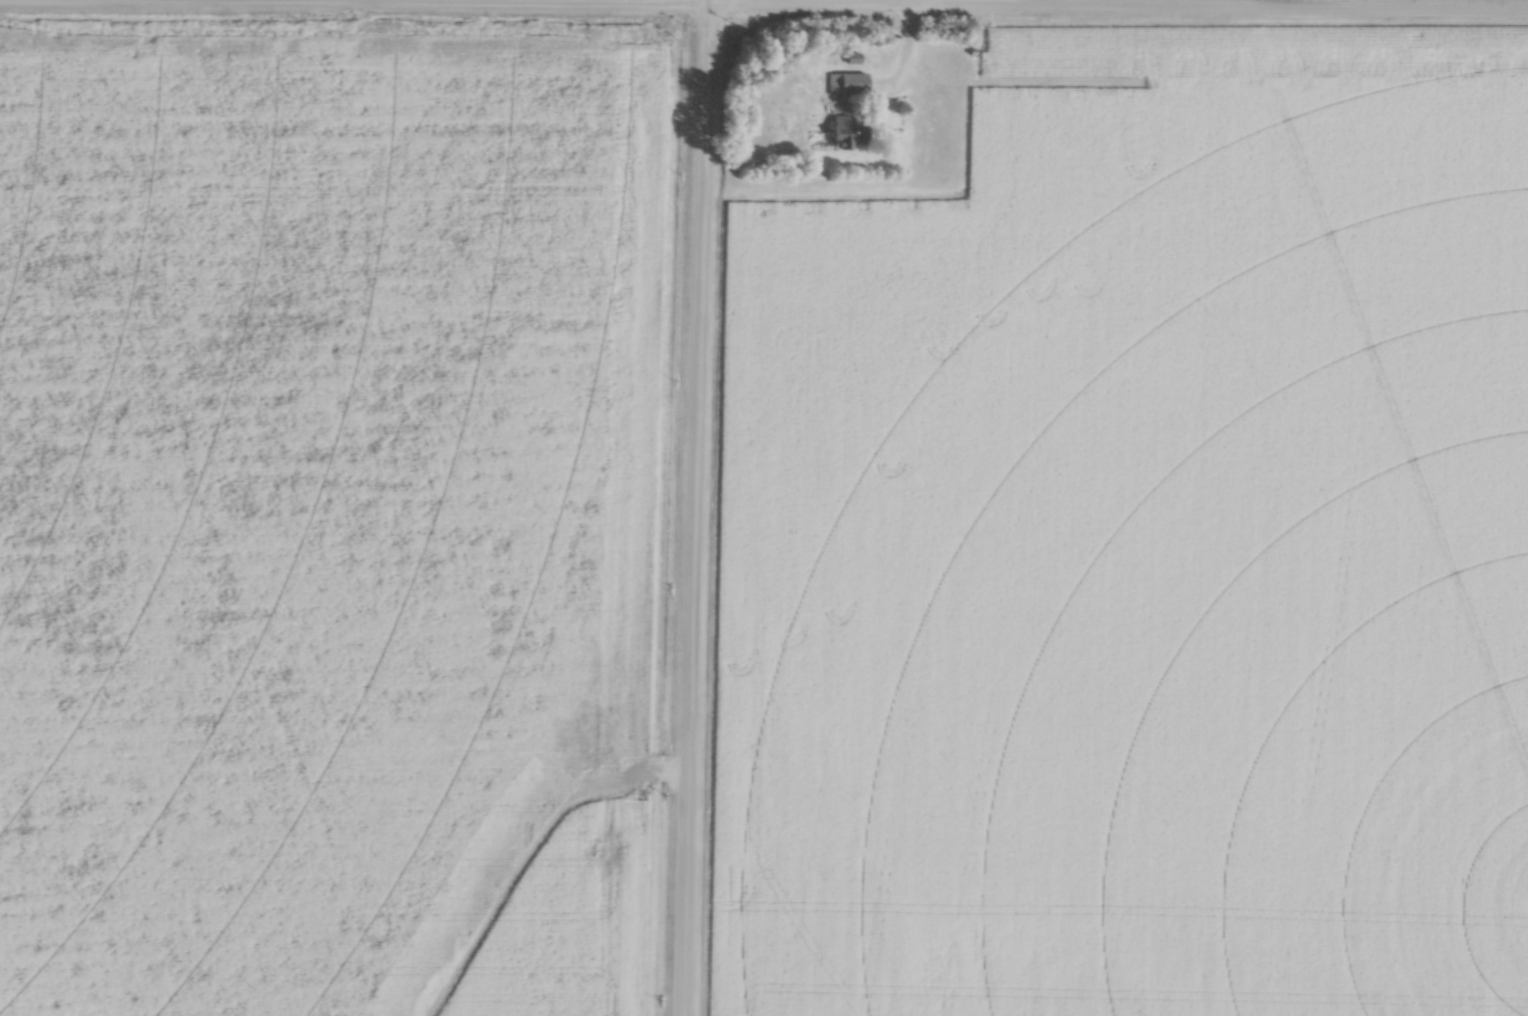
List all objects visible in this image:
road: (1050, 0)
road: (905, 63)
building: (848, 84)
building: (849, 134)
road: (694, 507)

